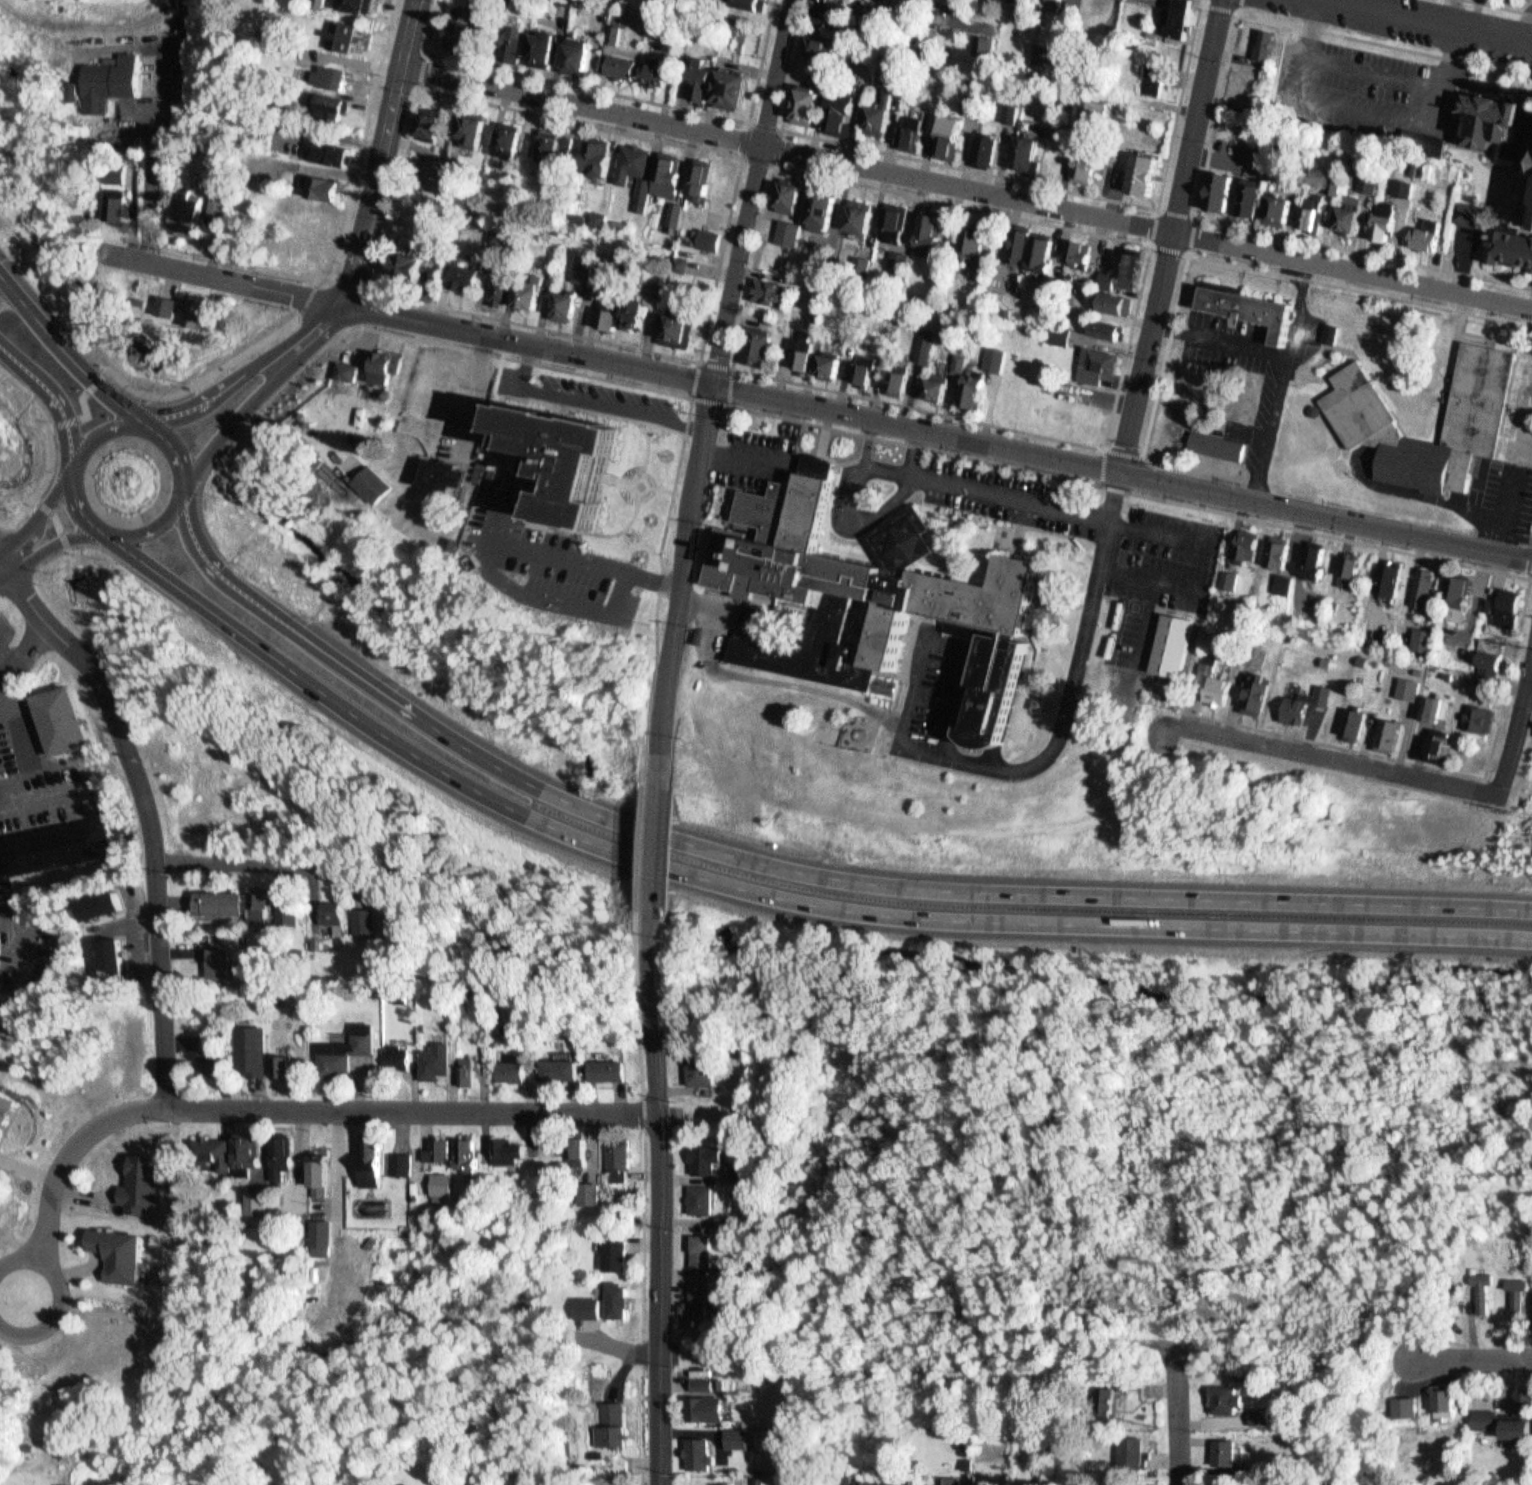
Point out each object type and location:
building: (1026, 0)
building: (599, 1)
building: (748, 1)
building: (322, 2)
building: (1047, 2)
building: (359, 3)
building: (1097, 5)
road: (1502, 6)
road: (1234, 9)
building: (822, 12)
building: (1171, 14)
road: (1454, 14)
road: (1426, 22)
building: (620, 25)
building: (613, 26)
building: (730, 28)
building: (346, 30)
building: (462, 30)
building: (358, 34)
building: (978, 38)
building: (511, 40)
building: (540, 42)
building: (814, 42)
building: (1271, 43)
building: (987, 44)
building: (827, 47)
road: (432, 51)
building: (574, 51)
building: (584, 56)
building: (619, 61)
road: (1373, 65)
building: (810, 66)
building: (652, 67)
building: (1151, 70)
building: (334, 72)
building: (697, 74)
building: (110, 77)
building: (708, 80)
building: (726, 82)
building: (72, 87)
road: (627, 95)
building: (1086, 98)
building: (804, 100)
building: (334, 103)
building: (837, 106)
building: (876, 106)
building: (1008, 106)
road: (1365, 108)
building: (849, 112)
building: (1014, 113)
building: (1098, 113)
building: (432, 116)
building: (885, 119)
building: (907, 125)
building: (470, 126)
building: (1501, 129)
building: (917, 131)
building: (944, 131)
building: (506, 132)
road: (1214, 135)
building: (551, 137)
building: (513, 139)
building: (1018, 143)
building: (981, 144)
building: (334, 147)
building: (591, 150)
building: (990, 150)
building: (602, 158)
road: (743, 158)
building: (631, 161)
building: (1035, 161)
building: (1423, 162)
building: (1078, 163)
road: (777, 164)
building: (1138, 167)
building: (123, 172)
building: (663, 172)
building: (696, 176)
road: (1012, 177)
building: (705, 181)
building: (1399, 181)
road: (156, 182)
building: (326, 182)
building: (1215, 186)
building: (1408, 187)
road: (971, 188)
building: (785, 189)
road: (754, 190)
building: (1225, 190)
road: (382, 191)
building: (1243, 195)
building: (116, 198)
building: (794, 198)
building: (1254, 198)
building: (819, 203)
building: (1271, 206)
building: (671, 207)
building: (189, 208)
building: (1283, 208)
building: (1305, 208)
building: (1341, 209)
building: (854, 210)
building: (575, 212)
building: (593, 212)
building: (1352, 212)
building: (1473, 213)
building: (677, 214)
building: (890, 216)
building: (1378, 216)
building: (318, 218)
building: (618, 218)
building: (864, 218)
building: (1529, 219)
building: (1388, 221)
building: (786, 226)
building: (925, 228)
building: (1420, 229)
building: (705, 232)
building: (792, 233)
building: (966, 233)
building: (505, 234)
building: (934, 234)
road: (1172, 235)
building: (1015, 240)
building: (974, 241)
building: (1024, 245)
building: (1510, 245)
road: (352, 248)
building: (1036, 248)
building: (1075, 251)
building: (311, 252)
road: (1191, 253)
building: (896, 254)
building: (679, 258)
building: (782, 258)
building: (858, 259)
building: (405, 263)
building: (610, 263)
building: (581, 264)
building: (1117, 264)
building: (1134, 264)
building: (975, 265)
building: (589, 268)
building: (1531, 269)
building: (462, 271)
road: (228, 278)
building: (1109, 279)
building: (497, 285)
building: (769, 287)
building: (523, 289)
road: (1361, 290)
road: (379, 291)
building: (1106, 298)
building: (560, 299)
building: (569, 306)
building: (1251, 307)
building: (198, 308)
building: (629, 308)
building: (604, 312)
building: (639, 312)
building: (938, 312)
building: (1100, 322)
building: (674, 325)
building: (937, 325)
building: (1053, 327)
building: (1110, 328)
building: (1334, 333)
building: (920, 338)
building: (753, 340)
building: (928, 345)
road: (72, 346)
building: (798, 347)
building: (993, 353)
building: (956, 357)
building: (823, 358)
building: (963, 362)
building: (1098, 364)
building: (833, 365)
building: (860, 365)
building: (361, 370)
building: (390, 374)
building: (897, 375)
building: (932, 381)
road: (129, 384)
building: (968, 385)
building: (940, 388)
road: (62, 396)
road: (227, 396)
road: (726, 402)
building: (1360, 408)
road: (251, 422)
road: (686, 428)
road: (944, 432)
road: (111, 434)
road: (194, 446)
building: (1223, 446)
road: (1108, 447)
building: (563, 460)
road: (1104, 465)
building: (452, 474)
building: (387, 480)
road: (95, 506)
road: (57, 515)
road: (2, 522)
road: (3, 529)
road: (171, 533)
road: (69, 537)
building: (1242, 540)
road: (1371, 543)
building: (1253, 546)
building: (1272, 546)
building: (1284, 554)
building: (1308, 557)
road: (3, 558)
road: (13, 558)
building: (1321, 561)
building: (1345, 562)
road: (3, 566)
building: (1355, 572)
building: (1384, 572)
road: (1530, 572)
building: (1224, 577)
building: (1233, 579)
building: (1279, 579)
building: (1393, 579)
road: (681, 582)
building: (1418, 582)
building: (1288, 583)
building: (1428, 588)
building: (1447, 590)
building: (1459, 597)
building: (870, 602)
building: (1495, 602)
building: (1415, 636)
building: (1168, 642)
building: (1484, 649)
building: (1452, 652)
road: (31, 655)
building: (1205, 655)
building: (1462, 655)
building: (0, 657)
building: (1357, 658)
building: (1210, 669)
building: (1412, 669)
building: (1441, 673)
road: (1520, 676)
building: (1168, 677)
building: (1404, 686)
building: (1215, 687)
building: (1225, 690)
building: (1251, 690)
road: (1528, 690)
building: (1317, 692)
building: (1425, 706)
building: (1292, 708)
building: (1434, 708)
building: (1470, 714)
building: (64, 717)
building: (1348, 719)
road: (1518, 724)
building: (1385, 732)
building: (1429, 739)
building: (1443, 747)
road: (1347, 759)
road: (149, 811)
building: (60, 843)
road: (655, 846)
road: (666, 848)
road: (247, 860)
road: (801, 871)
road: (775, 897)
building: (257, 899)
building: (99, 900)
building: (215, 900)
building: (267, 904)
building: (109, 906)
building: (330, 910)
building: (286, 911)
building: (358, 916)
building: (367, 921)
building: (309, 939)
building: (111, 951)
building: (120, 958)
building: (217, 958)
road: (648, 1004)
building: (205, 1034)
building: (248, 1044)
building: (342, 1048)
building: (388, 1052)
building: (219, 1057)
building: (428, 1057)
building: (280, 1062)
building: (705, 1065)
building: (461, 1069)
building: (514, 1069)
building: (613, 1069)
building: (569, 1070)
building: (470, 1071)
building: (6, 1101)
road: (415, 1110)
road: (645, 1115)
building: (432, 1146)
building: (219, 1148)
building: (274, 1150)
building: (580, 1150)
road: (73, 1151)
building: (442, 1151)
building: (461, 1151)
building: (511, 1151)
building: (366, 1154)
building: (472, 1154)
building: (708, 1157)
building: (396, 1158)
building: (620, 1158)
building: (403, 1164)
building: (315, 1166)
building: (741, 1170)
building: (139, 1179)
building: (437, 1182)
building: (590, 1196)
road: (662, 1197)
building: (703, 1199)
building: (251, 1202)
building: (730, 1220)
building: (317, 1232)
road: (9, 1246)
building: (112, 1246)
building: (703, 1250)
road: (15, 1251)
building: (616, 1254)
building: (1485, 1289)
building: (1521, 1296)
building: (617, 1300)
building: (587, 1302)
road: (55, 1305)
building: (698, 1305)
road: (644, 1308)
road: (1473, 1357)
building: (705, 1383)
building: (723, 1384)
building: (1231, 1399)
building: (1446, 1400)
building: (1408, 1407)
building: (707, 1408)
building: (1265, 1415)
building: (1511, 1419)
road: (1178, 1421)
building: (612, 1425)
building: (739, 1437)
building: (1135, 1451)
building: (1228, 1452)
building: (700, 1453)
building: (862, 1478)
building: (949, 1481)
building: (1450, 1483)
building: (396, 1484)
building: (1341, 1484)

